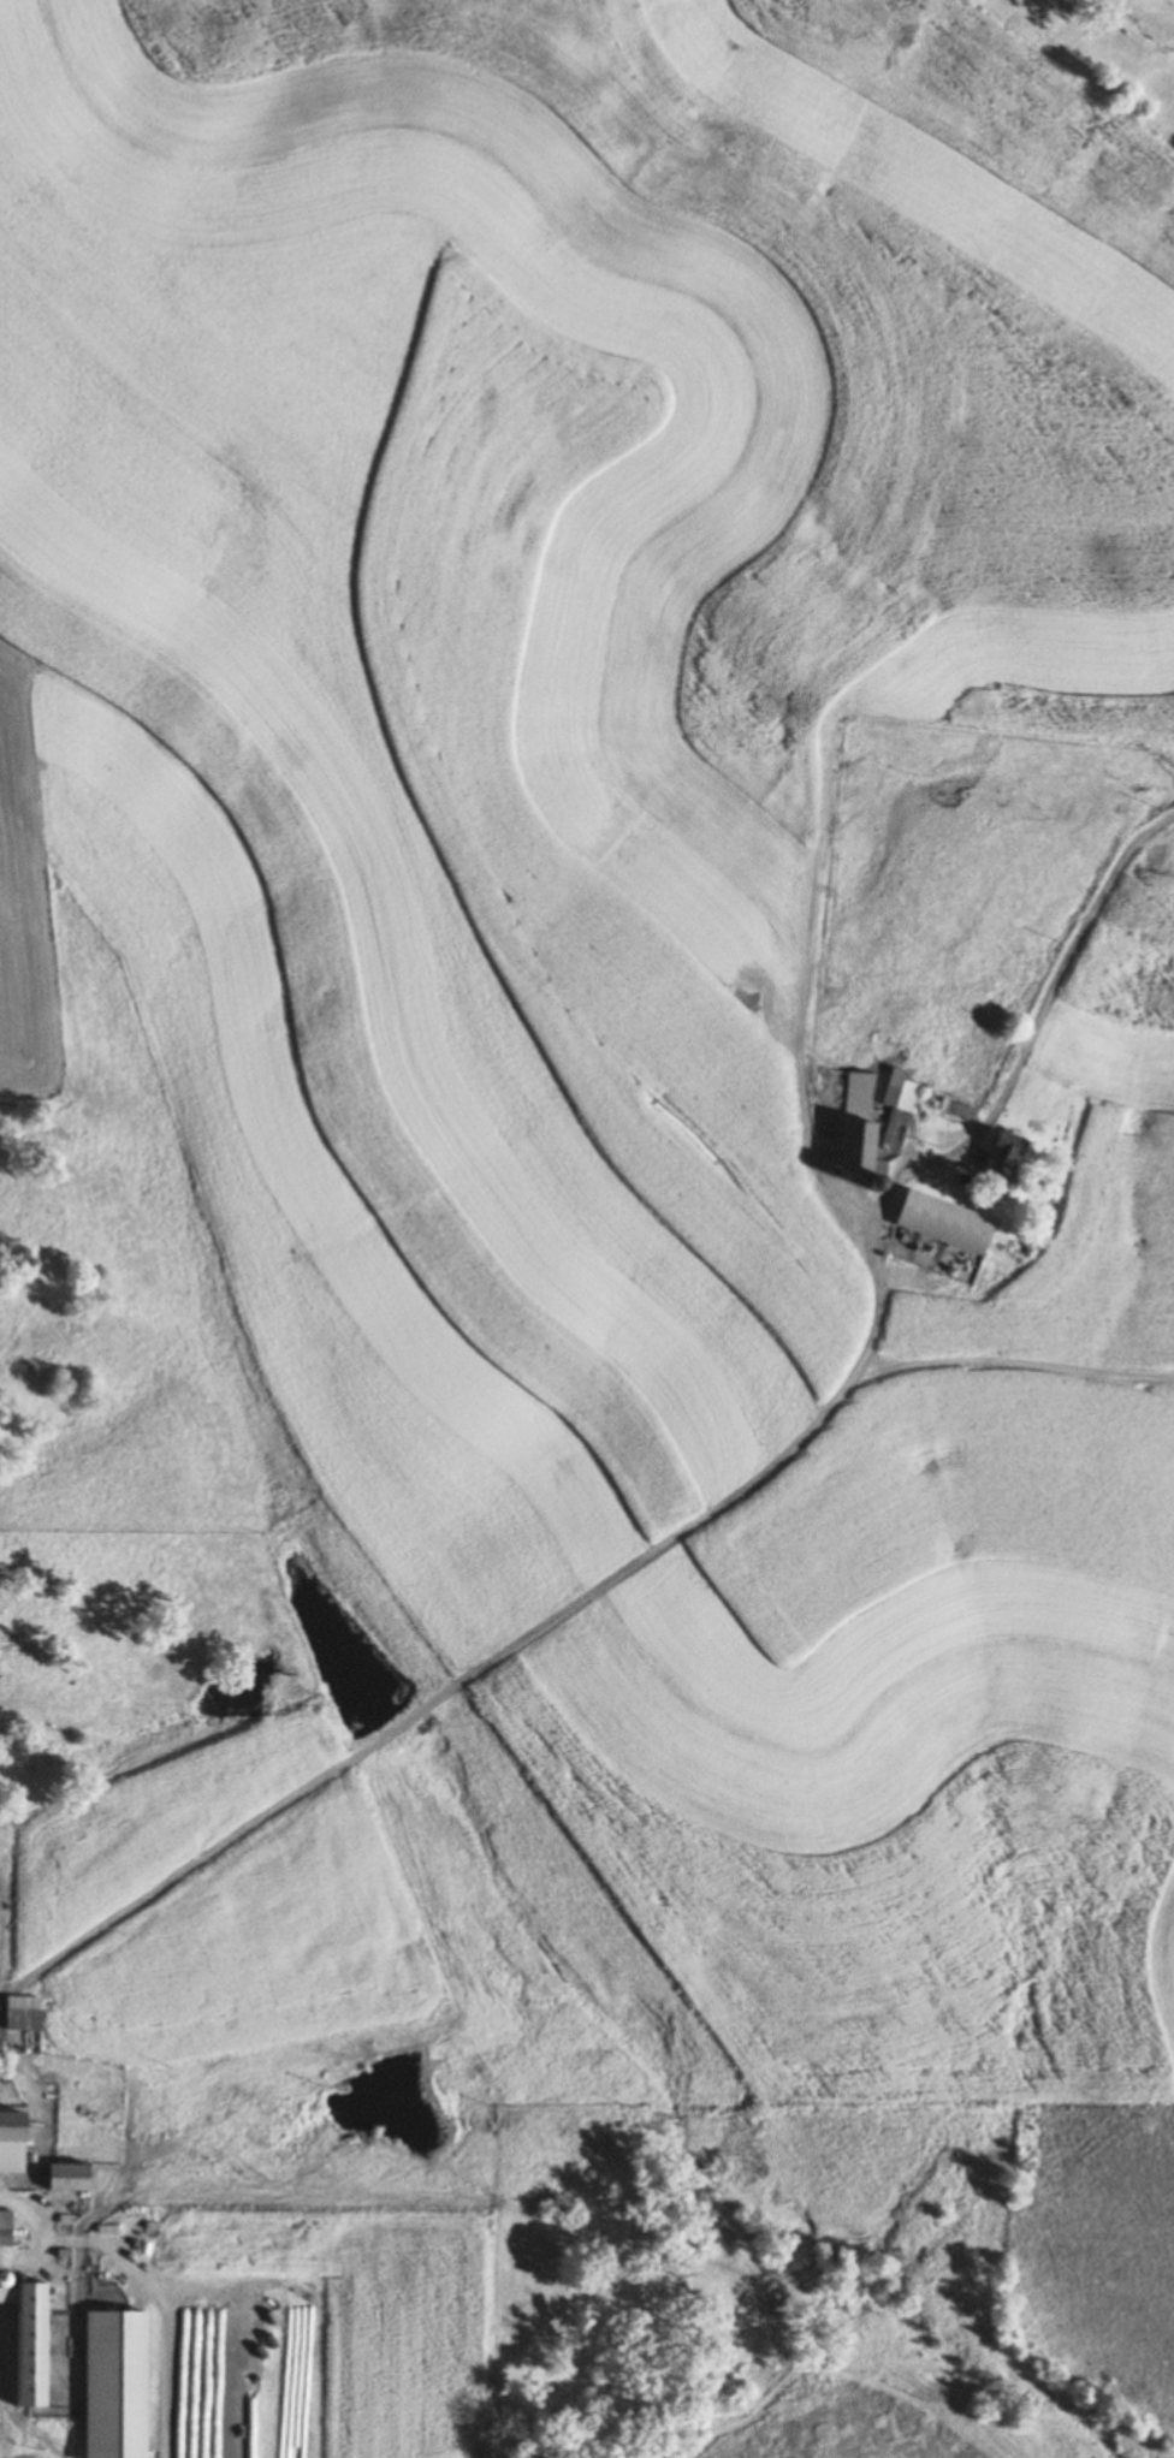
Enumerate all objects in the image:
building: (897, 1091)
building: (854, 1129)
building: (997, 1159)
building: (941, 1223)
road: (722, 1508)
building: (18, 2013)
building: (10, 2143)
building: (64, 2178)
building: (2, 2230)
road: (153, 2281)
building: (1, 2288)
building: (28, 2346)
building: (204, 2362)
building: (111, 2385)
building: (259, 2393)

